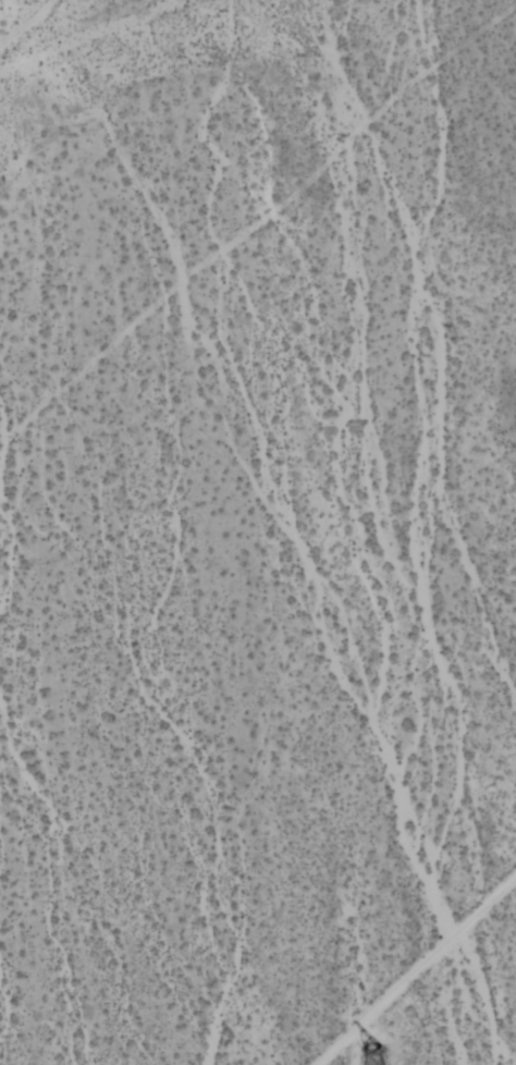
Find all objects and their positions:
power tower: (378, 1056)

